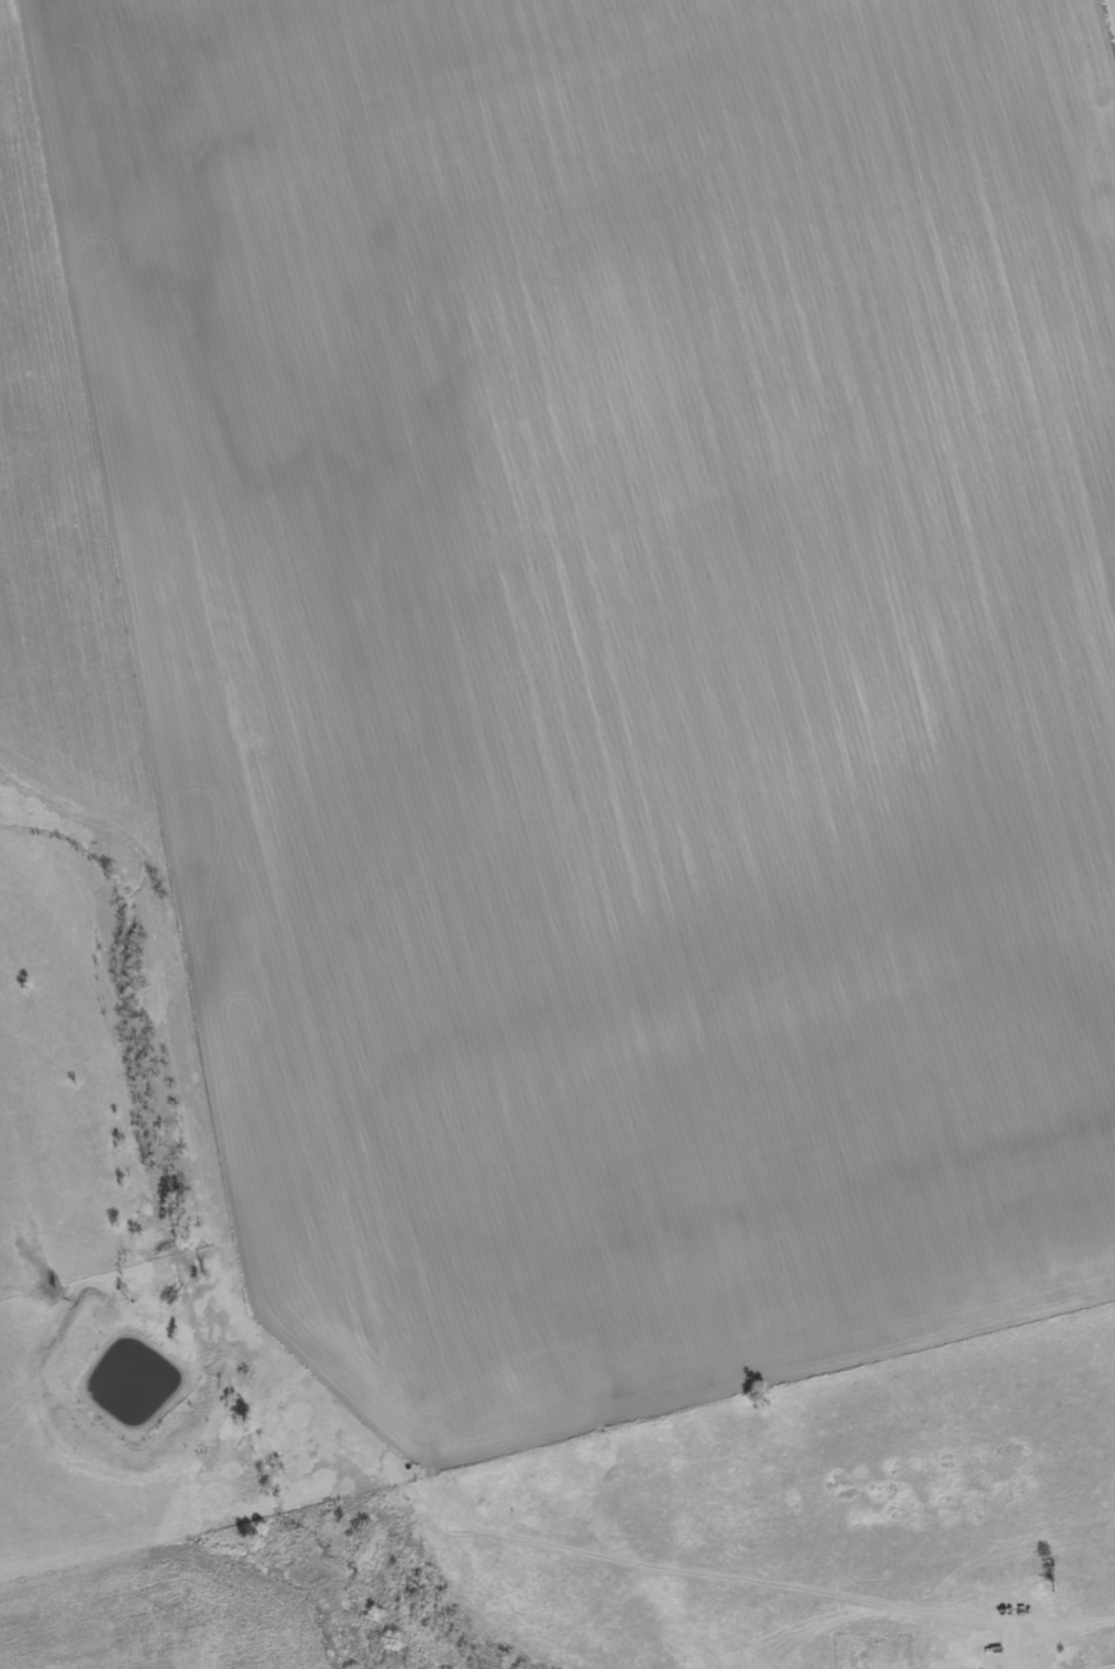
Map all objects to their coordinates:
road: (1114, 0)
road: (1091, 1660)

